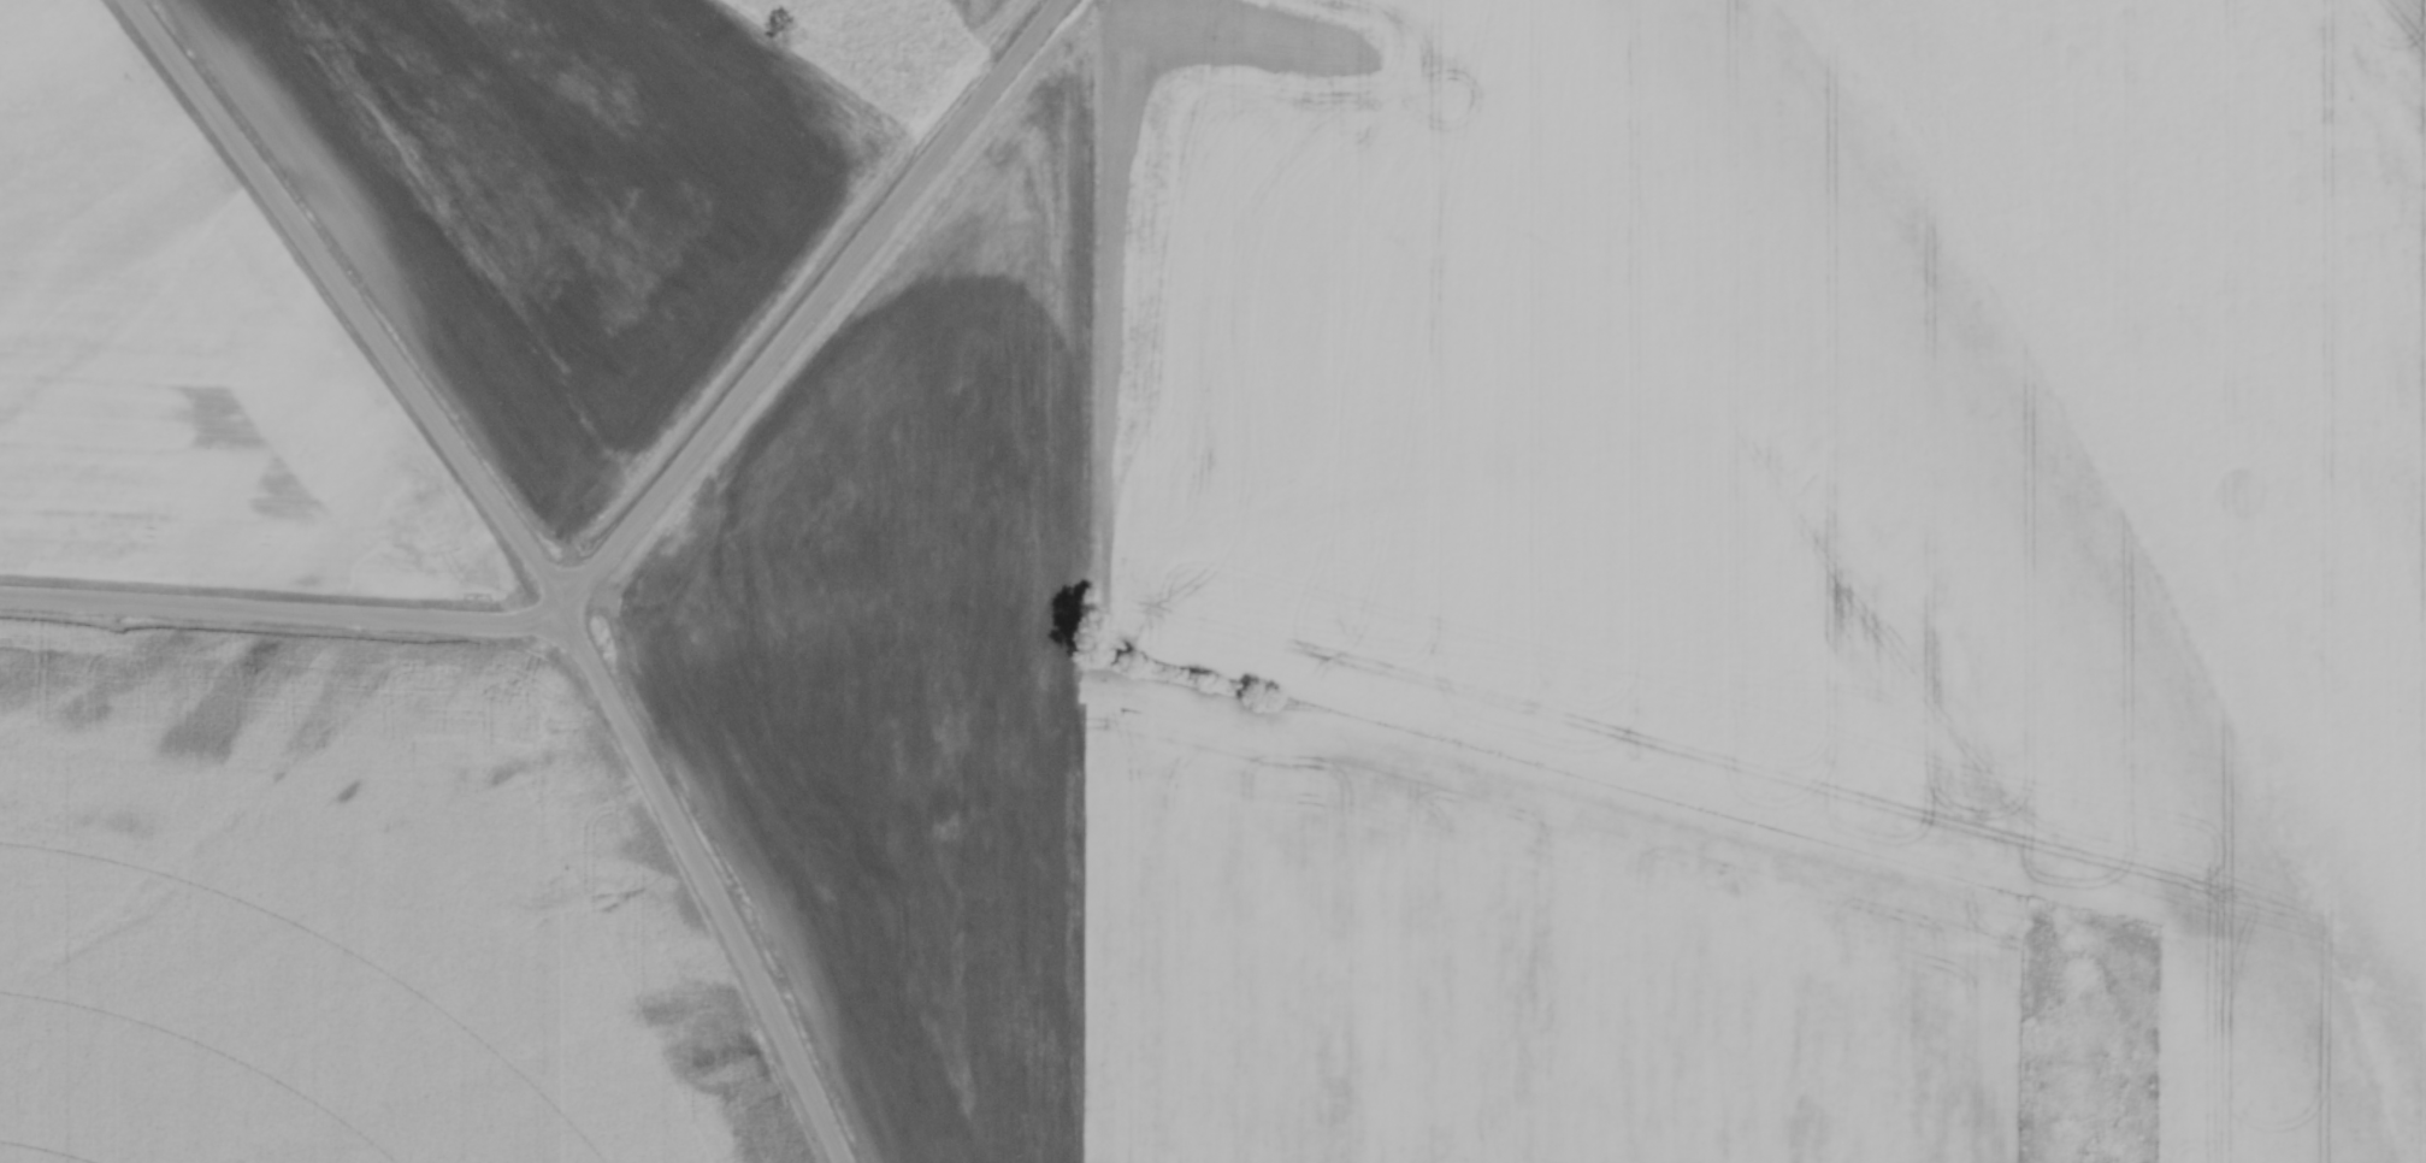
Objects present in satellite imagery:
road: (343, 302)
road: (631, 519)
road: (698, 884)

